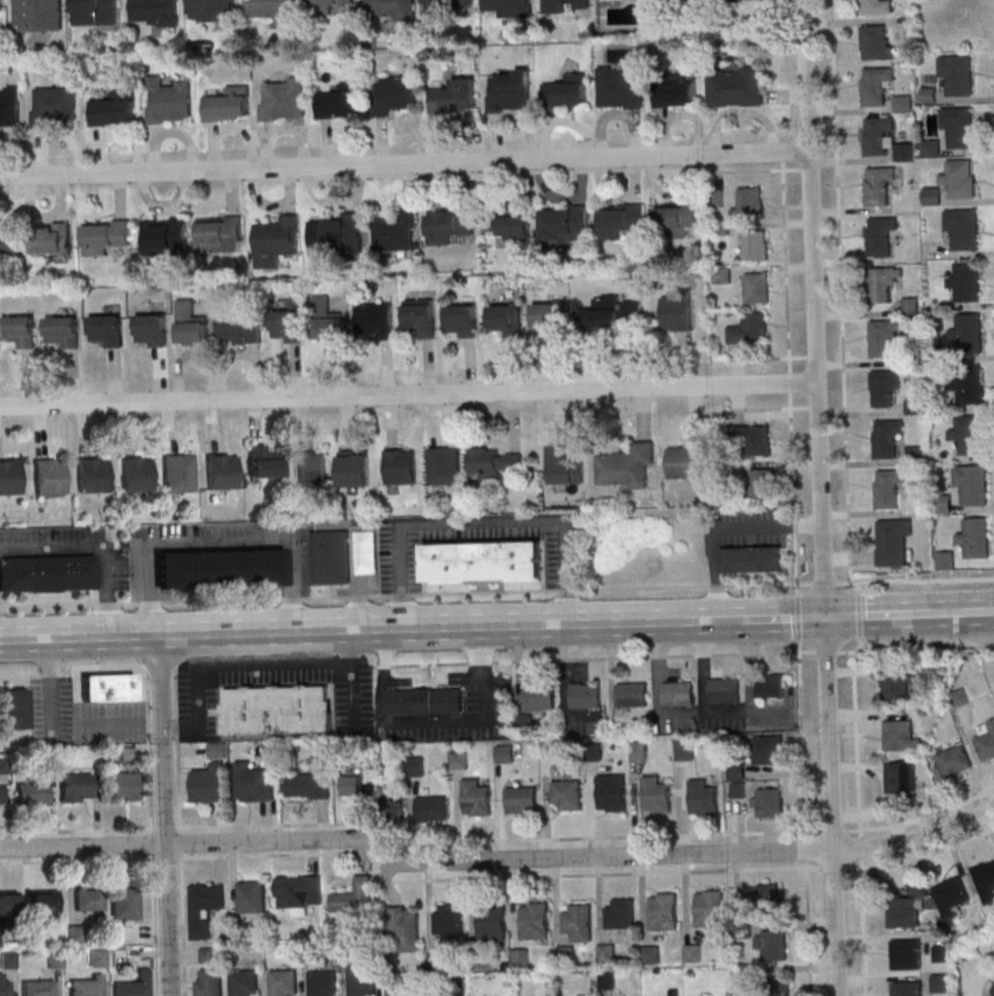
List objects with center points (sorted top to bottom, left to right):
building: (1, 4)
building: (327, 4)
building: (212, 5)
building: (431, 6)
building: (876, 6)
building: (508, 7)
building: (276, 9)
building: (391, 9)
building: (95, 12)
building: (156, 12)
building: (38, 15)
building: (877, 43)
building: (958, 74)
building: (877, 84)
building: (736, 86)
building: (620, 87)
building: (676, 90)
building: (510, 91)
building: (567, 91)
building: (396, 94)
building: (455, 97)
building: (283, 99)
building: (167, 100)
building: (342, 101)
building: (904, 103)
building: (229, 105)
building: (55, 106)
building: (10, 108)
building: (115, 109)
building: (964, 127)
building: (878, 136)
road: (405, 165)
road: (754, 170)
building: (961, 178)
building: (880, 186)
building: (933, 195)
building: (750, 203)
building: (677, 217)
building: (621, 219)
building: (566, 223)
building: (515, 224)
building: (450, 225)
building: (964, 227)
building: (220, 232)
building: (397, 232)
building: (338, 234)
building: (881, 234)
building: (105, 235)
building: (166, 235)
building: (9, 237)
building: (50, 239)
building: (277, 241)
building: (756, 244)
road: (786, 266)
building: (722, 274)
building: (966, 281)
building: (883, 283)
building: (756, 287)
road: (841, 290)
building: (911, 305)
building: (612, 312)
building: (677, 312)
building: (546, 314)
building: (421, 317)
building: (505, 318)
building: (326, 319)
building: (462, 320)
building: (378, 321)
building: (191, 323)
building: (287, 325)
building: (242, 328)
building: (749, 328)
building: (107, 330)
building: (151, 330)
building: (21, 331)
building: (62, 331)
building: (968, 334)
building: (886, 335)
road: (753, 357)
road: (790, 382)
building: (968, 383)
building: (885, 387)
road: (408, 394)
road: (760, 407)
building: (968, 434)
building: (887, 437)
building: (753, 440)
building: (688, 460)
building: (263, 462)
building: (494, 462)
building: (445, 465)
building: (566, 465)
building: (401, 466)
building: (626, 466)
building: (312, 468)
building: (355, 468)
building: (222, 471)
building: (179, 473)
building: (136, 474)
building: (49, 476)
building: (93, 476)
building: (10, 477)
building: (762, 483)
building: (972, 484)
building: (889, 487)
road: (794, 492)
road: (821, 498)
building: (944, 504)
road: (482, 521)
road: (723, 526)
building: (975, 537)
road: (218, 541)
building: (893, 541)
road: (97, 547)
building: (330, 557)
building: (752, 559)
building: (946, 559)
building: (484, 561)
building: (219, 568)
building: (48, 574)
road: (915, 579)
road: (822, 581)
road: (546, 590)
road: (141, 602)
road: (988, 613)
road: (962, 614)
road: (797, 615)
road: (837, 616)
road: (882, 617)
road: (783, 620)
traffic signals: (825, 620)
road: (721, 622)
road: (350, 631)
road: (385, 648)
road: (917, 648)
road: (825, 650)
road: (599, 657)
road: (240, 665)
road: (380, 666)
road: (146, 672)
road: (704, 682)
road: (659, 684)
building: (897, 685)
road: (567, 686)
building: (770, 686)
building: (107, 688)
building: (726, 691)
building: (679, 694)
building: (633, 695)
building: (586, 696)
building: (541, 697)
building: (960, 697)
building: (425, 700)
building: (12, 709)
building: (277, 709)
road: (452, 721)
building: (901, 735)
road: (802, 738)
building: (986, 741)
road: (858, 743)
building: (685, 749)
building: (769, 749)
building: (639, 750)
road: (177, 753)
building: (505, 753)
building: (459, 760)
building: (955, 760)
building: (3, 765)
building: (737, 771)
building: (901, 777)
building: (355, 782)
building: (254, 783)
building: (121, 784)
building: (210, 784)
building: (310, 784)
building: (76, 787)
building: (739, 789)
building: (612, 792)
building: (32, 794)
building: (566, 794)
building: (1, 795)
building: (656, 795)
building: (476, 798)
building: (703, 798)
building: (521, 799)
building: (769, 802)
building: (430, 808)
road: (920, 815)
road: (164, 816)
road: (276, 824)
road: (164, 827)
road: (77, 831)
road: (613, 836)
road: (180, 842)
road: (151, 843)
road: (187, 844)
road: (861, 847)
road: (805, 849)
road: (690, 854)
road: (269, 855)
road: (922, 857)
road: (166, 859)
road: (77, 860)
road: (614, 873)
building: (985, 880)
building: (952, 891)
building: (299, 892)
building: (768, 895)
building: (252, 896)
building: (355, 896)
building: (88, 899)
building: (43, 900)
building: (7, 904)
building: (124, 906)
building: (206, 908)
building: (708, 908)
building: (663, 911)
building: (904, 912)
building: (620, 914)
building: (534, 920)
building: (449, 921)
building: (491, 922)
building: (578, 922)
road: (182, 924)
road: (154, 925)
road: (862, 926)
building: (404, 928)
road: (808, 928)
building: (74, 935)
building: (772, 944)
building: (691, 952)
building: (606, 953)
building: (565, 954)
building: (905, 954)
building: (208, 955)
building: (651, 955)
building: (97, 958)
building: (521, 958)
building: (54, 960)
building: (436, 960)
building: (7, 961)
building: (361, 980)
building: (607, 980)
building: (210, 982)
building: (243, 982)
building: (283, 982)
building: (940, 982)
building: (322, 983)
building: (777, 985)
building: (86, 986)
building: (132, 986)
building: (3, 987)
building: (37, 988)
building: (906, 988)
building: (394, 991)
building: (992, 991)

